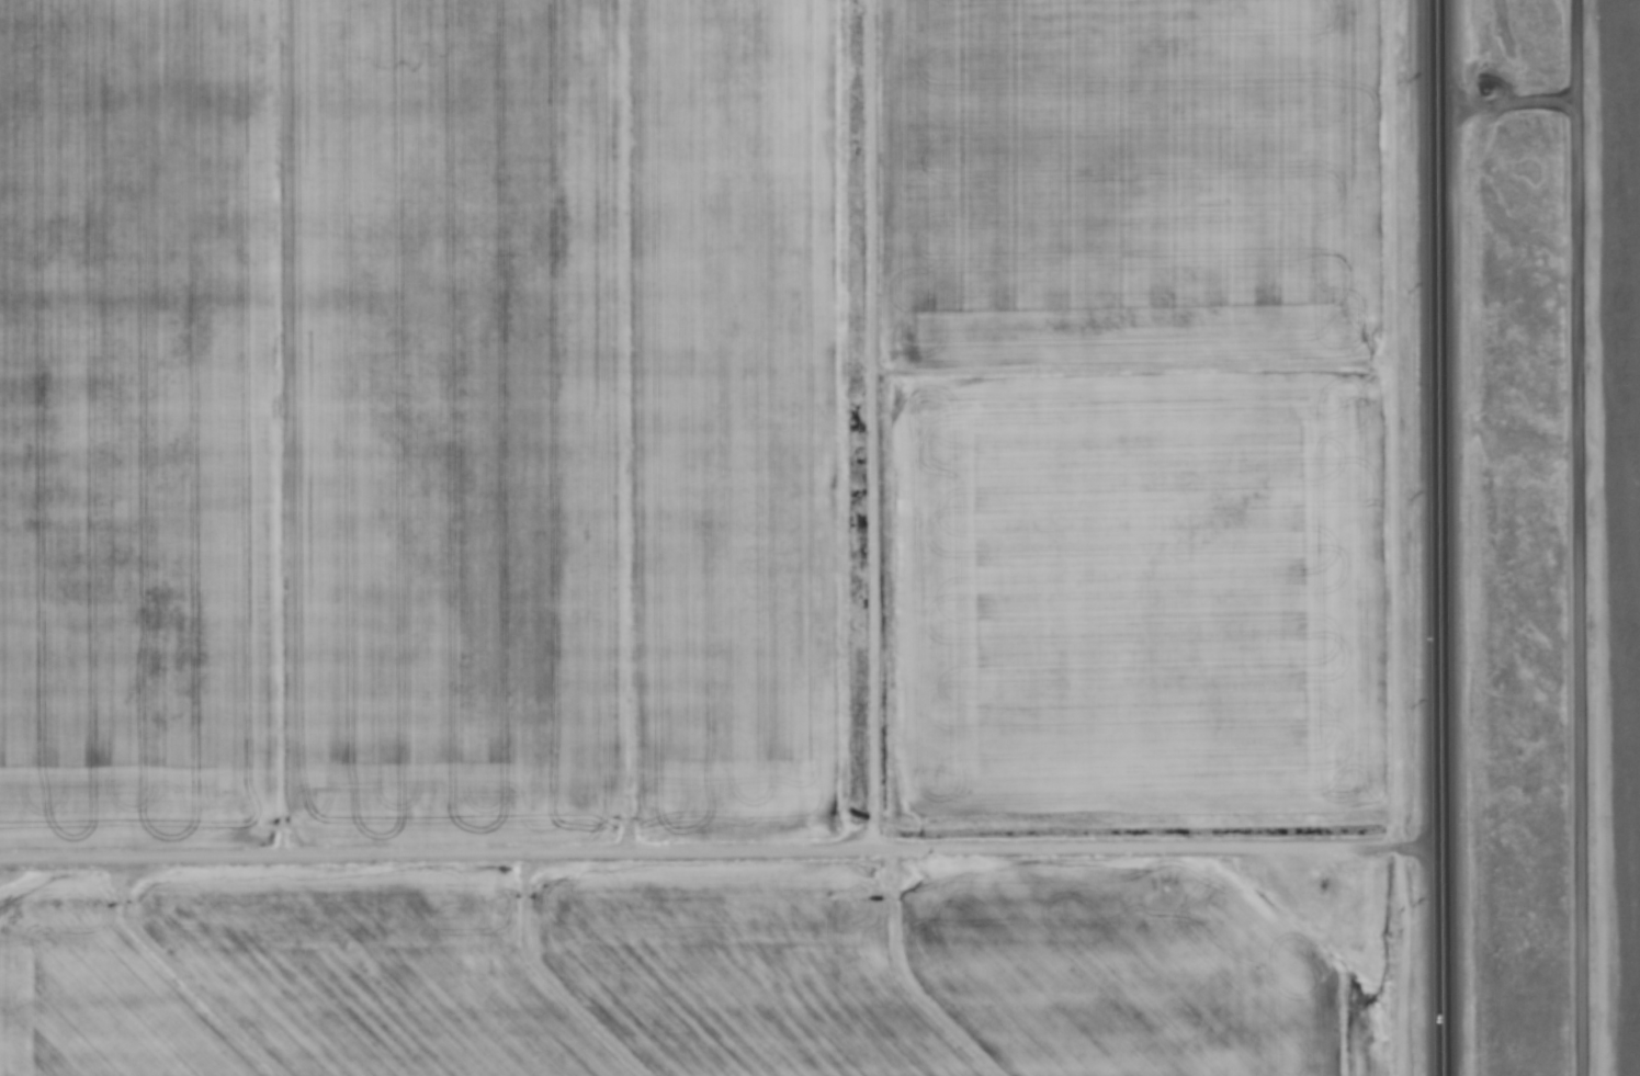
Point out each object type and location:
road: (1572, 48)
road: (1579, 522)
road: (1446, 537)

